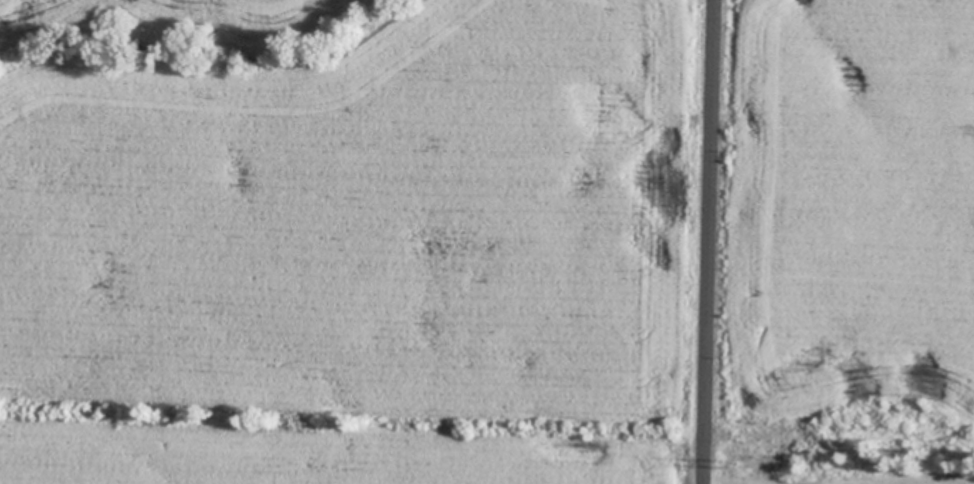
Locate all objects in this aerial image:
road: (712, 242)
power tower: (739, 463)

